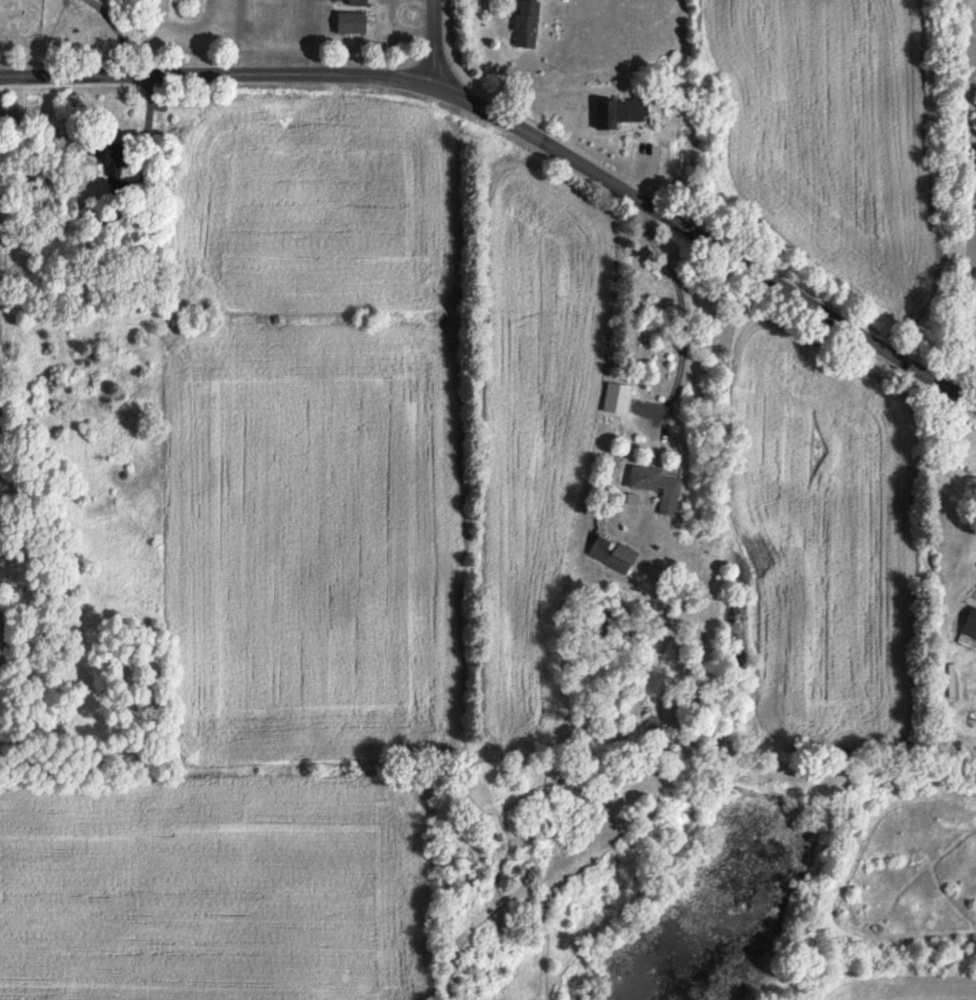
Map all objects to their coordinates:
building: (551, 0)
road: (426, 1)
building: (357, 3)
building: (353, 24)
building: (529, 24)
road: (401, 28)
road: (433, 43)
building: (621, 113)
road: (146, 131)
road: (521, 133)
building: (112, 161)
road: (679, 307)
building: (658, 489)
building: (613, 556)
building: (971, 622)

